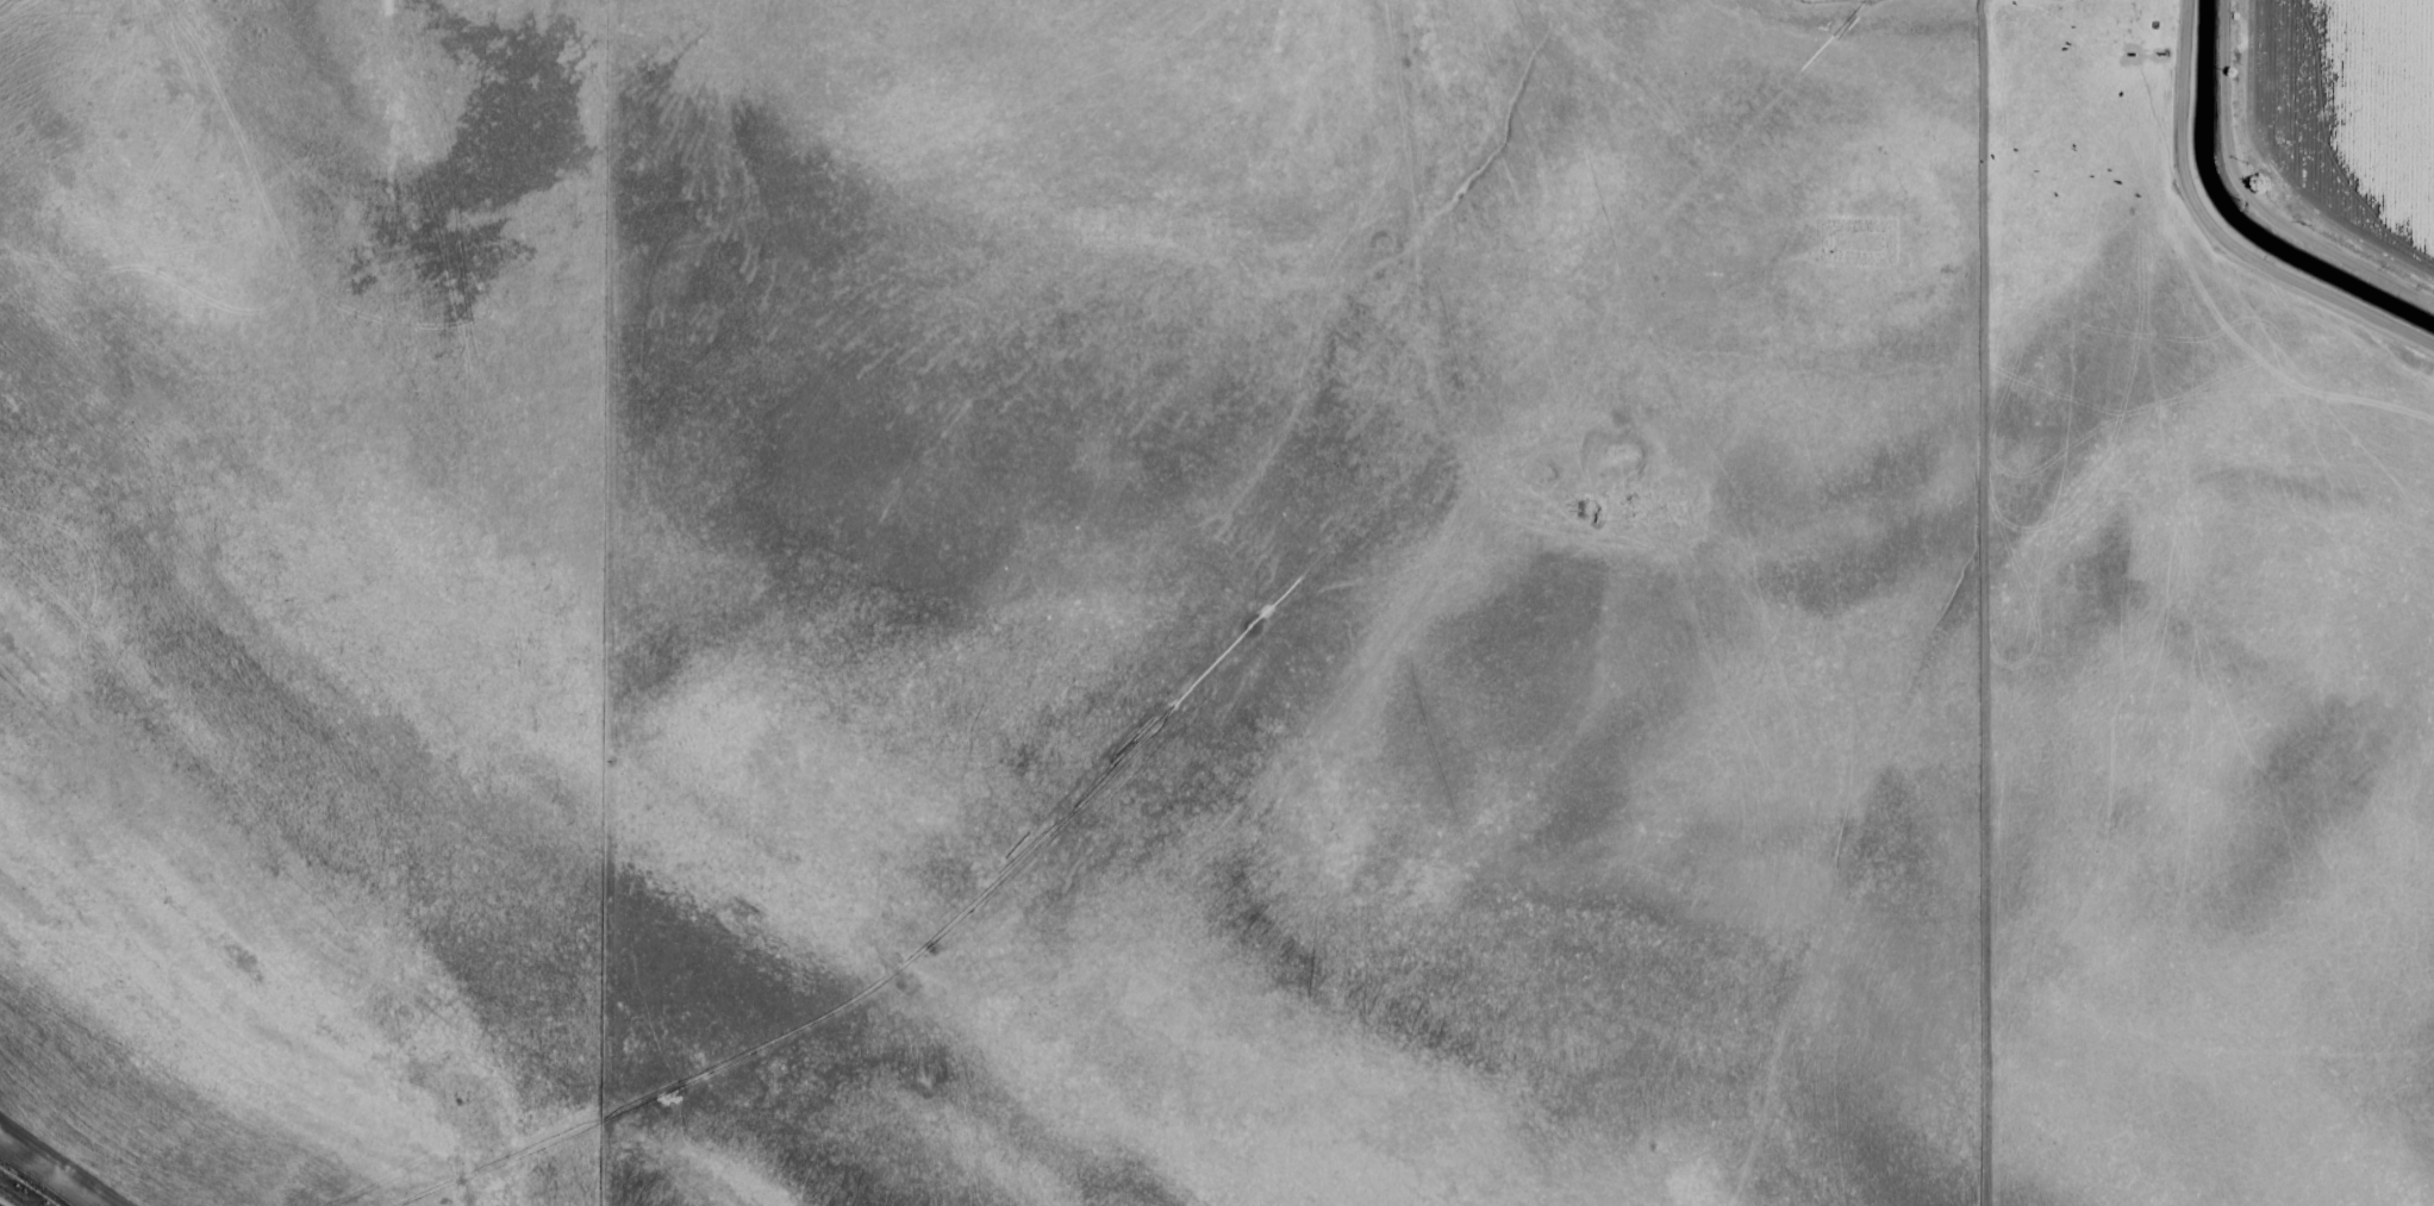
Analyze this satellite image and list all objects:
road: (2253, 202)
crop: (1217, 602)

